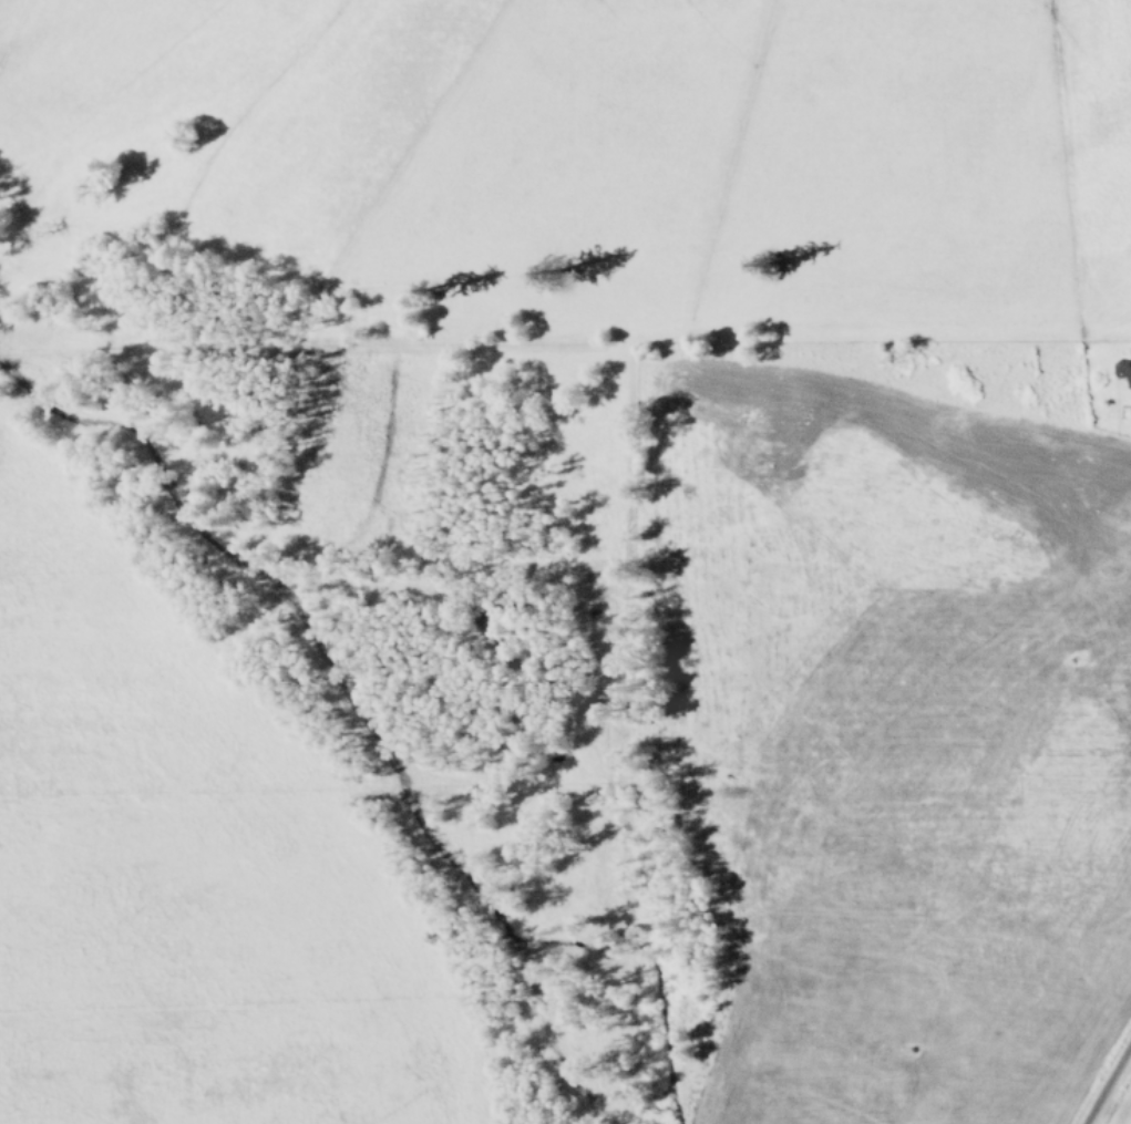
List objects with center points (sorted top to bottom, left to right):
crop: (597, 159)
building: (1123, 369)
road: (1107, 1081)

